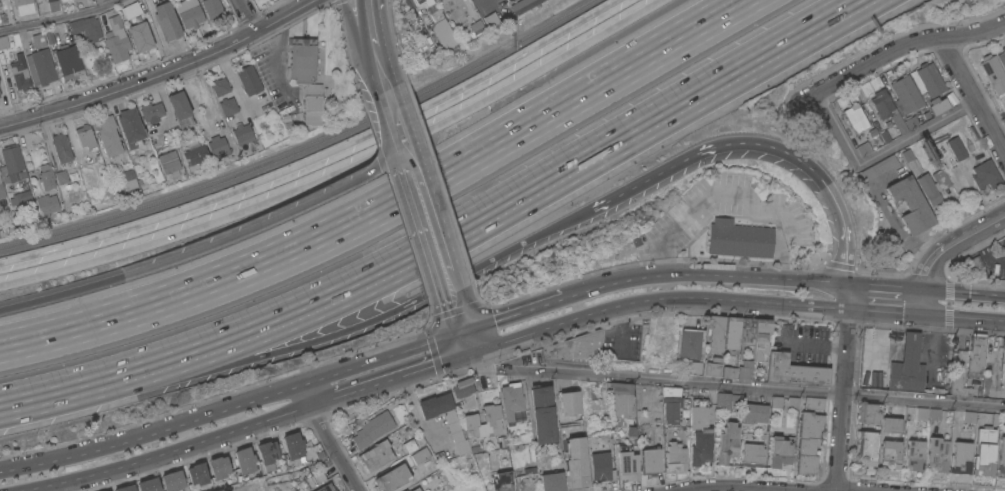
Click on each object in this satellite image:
building: (99, 1)
building: (443, 1)
building: (422, 3)
building: (53, 5)
building: (522, 5)
building: (24, 6)
road: (367, 6)
building: (212, 7)
building: (130, 9)
building: (189, 13)
road: (244, 16)
road: (57, 18)
building: (1, 19)
building: (491, 19)
building: (166, 21)
building: (114, 22)
building: (85, 27)
building: (475, 28)
road: (371, 29)
road: (357, 30)
building: (442, 30)
building: (140, 36)
building: (38, 40)
building: (3, 42)
road: (896, 46)
building: (116, 47)
road: (283, 54)
road: (375, 54)
building: (1002, 57)
building: (1, 58)
building: (302, 59)
building: (68, 61)
building: (41, 67)
building: (993, 72)
building: (17, 73)
road: (159, 73)
road: (378, 75)
building: (249, 79)
building: (927, 80)
building: (219, 86)
building: (903, 94)
building: (0, 96)
road: (971, 96)
building: (937, 105)
building: (228, 106)
building: (180, 109)
building: (312, 109)
building: (883, 109)
road: (668, 110)
building: (151, 111)
building: (855, 117)
building: (917, 117)
road: (390, 120)
building: (1003, 120)
building: (130, 127)
building: (241, 132)
building: (872, 132)
building: (107, 135)
building: (85, 136)
building: (884, 137)
railway: (305, 145)
road: (765, 145)
building: (217, 146)
building: (61, 147)
building: (863, 148)
building: (956, 148)
building: (195, 154)
road: (317, 155)
building: (906, 155)
road: (876, 157)
building: (167, 159)
building: (12, 164)
building: (913, 166)
building: (879, 167)
road: (340, 170)
building: (985, 174)
building: (66, 175)
building: (46, 176)
building: (127, 179)
building: (940, 179)
building: (928, 189)
building: (2, 190)
road: (729, 194)
building: (23, 196)
building: (46, 204)
building: (910, 204)
road: (386, 206)
road: (888, 211)
road: (264, 222)
road: (429, 233)
building: (738, 238)
road: (953, 242)
road: (984, 252)
road: (703, 273)
road: (885, 286)
road: (965, 292)
road: (60, 293)
road: (845, 296)
road: (655, 298)
road: (924, 301)
road: (884, 311)
road: (514, 314)
road: (964, 317)
road: (269, 321)
road: (459, 321)
traffic signals: (463, 331)
building: (747, 331)
road: (341, 332)
building: (715, 333)
building: (731, 334)
building: (760, 338)
road: (468, 343)
building: (691, 343)
building: (576, 347)
building: (977, 352)
traffic signals: (473, 356)
building: (1003, 362)
road: (484, 364)
building: (713, 366)
building: (907, 366)
building: (692, 367)
building: (745, 370)
building: (793, 371)
building: (729, 372)
building: (959, 380)
road: (393, 381)
road: (752, 386)
building: (463, 387)
road: (841, 399)
building: (728, 401)
building: (512, 402)
building: (775, 402)
building: (814, 402)
road: (27, 403)
building: (569, 403)
building: (598, 403)
building: (670, 403)
building: (622, 404)
building: (792, 404)
road: (232, 407)
building: (755, 412)
building: (868, 412)
building: (542, 413)
building: (934, 414)
building: (921, 417)
building: (493, 418)
building: (471, 422)
building: (891, 424)
building: (454, 428)
building: (373, 429)
building: (699, 432)
road: (330, 438)
building: (808, 441)
building: (727, 442)
building: (293, 445)
building: (409, 446)
building: (866, 447)
road: (177, 450)
building: (779, 451)
building: (984, 451)
building: (890, 453)
building: (268, 454)
building: (753, 454)
building: (937, 454)
building: (376, 455)
building: (420, 455)
building: (914, 455)
building: (1002, 456)
building: (675, 457)
building: (960, 457)
building: (245, 460)
building: (650, 460)
building: (576, 462)
building: (626, 463)
building: (600, 466)
building: (219, 467)
building: (198, 473)
building: (391, 478)
building: (173, 480)
building: (501, 481)
building: (551, 481)
building: (149, 485)
road: (739, 487)
building: (125, 488)
building: (325, 488)
building: (415, 489)
building: (107, 490)
building: (405, 490)
road: (839, 490)

